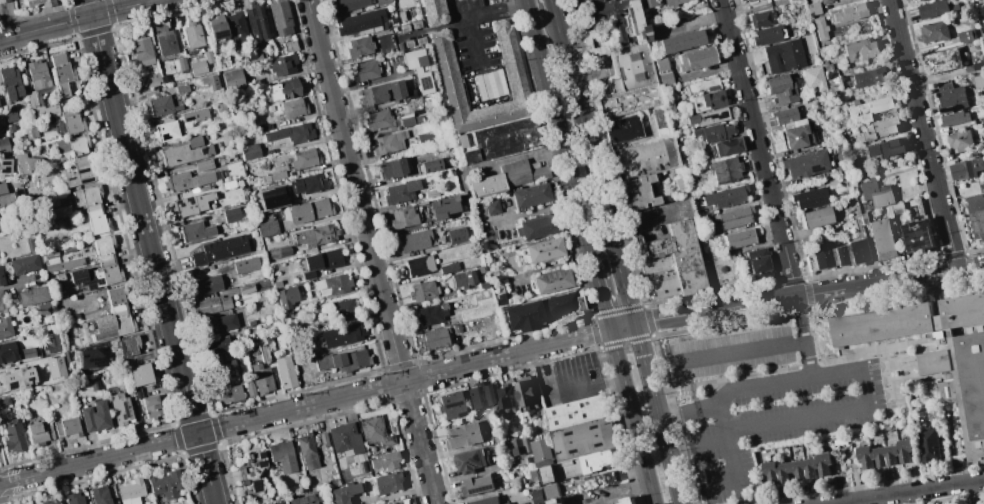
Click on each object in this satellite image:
building: (739, 0)
building: (741, 0)
building: (918, 0)
building: (4, 1)
road: (145, 1)
building: (576, 1)
building: (592, 1)
building: (795, 1)
building: (825, 1)
building: (38, 2)
building: (382, 2)
building: (673, 2)
building: (645, 3)
road: (89, 4)
building: (349, 4)
road: (554, 4)
road: (88, 8)
building: (813, 8)
building: (936, 8)
building: (432, 12)
road: (497, 12)
building: (849, 12)
road: (118, 14)
road: (92, 15)
building: (280, 17)
building: (762, 18)
building: (618, 20)
building: (360, 21)
building: (255, 22)
building: (236, 26)
road: (66, 27)
building: (820, 28)
building: (217, 29)
building: (933, 31)
road: (19, 34)
building: (192, 34)
rooftop solar panel: (221, 34)
building: (768, 35)
building: (965, 35)
building: (602, 41)
building: (677, 41)
building: (165, 42)
building: (807, 42)
building: (290, 46)
building: (359, 46)
road: (476, 48)
building: (40, 49)
building: (859, 49)
building: (142, 51)
building: (256, 54)
building: (783, 55)
building: (208, 57)
building: (695, 58)
building: (943, 60)
building: (181, 63)
building: (223, 63)
building: (282, 64)
building: (978, 65)
building: (632, 66)
building: (197, 67)
building: (417, 69)
building: (365, 70)
building: (513, 70)
building: (661, 71)
rooftop solar panel: (1, 73)
building: (62, 73)
building: (869, 76)
building: (166, 78)
building: (151, 80)
building: (232, 80)
building: (210, 81)
building: (10, 83)
rooftop solar panel: (423, 83)
building: (706, 84)
building: (830, 85)
building: (781, 88)
building: (38, 89)
building: (181, 89)
building: (284, 89)
building: (382, 92)
building: (411, 95)
building: (950, 98)
building: (626, 99)
building: (706, 100)
building: (159, 105)
building: (440, 106)
building: (669, 106)
building: (867, 107)
building: (292, 108)
building: (10, 114)
building: (194, 115)
building: (784, 115)
building: (659, 116)
rooftop solar panel: (714, 116)
building: (707, 117)
building: (954, 118)
building: (378, 119)
building: (410, 119)
building: (72, 120)
building: (841, 122)
building: (622, 128)
building: (880, 128)
building: (165, 130)
building: (712, 131)
building: (31, 132)
road: (561, 132)
building: (793, 133)
building: (289, 134)
road: (922, 134)
building: (425, 138)
building: (502, 139)
building: (959, 141)
building: (389, 142)
building: (3, 145)
building: (727, 146)
road: (759, 148)
building: (885, 148)
building: (249, 151)
building: (185, 152)
building: (644, 158)
building: (304, 159)
building: (77, 160)
building: (25, 161)
building: (804, 163)
building: (203, 164)
building: (5, 165)
rooftop solar panel: (5, 165)
building: (430, 165)
building: (393, 167)
rooftop solar panel: (814, 167)
rooftop solar panel: (84, 169)
building: (725, 169)
building: (966, 169)
building: (526, 173)
rooftop solar panel: (70, 178)
building: (186, 180)
rooftop solar panel: (88, 181)
building: (308, 183)
building: (492, 184)
building: (2, 188)
building: (400, 191)
building: (636, 192)
building: (431, 193)
building: (875, 193)
building: (530, 195)
building: (725, 196)
building: (809, 197)
building: (974, 203)
rooftop solar panel: (812, 205)
building: (185, 207)
building: (442, 207)
building: (492, 207)
building: (91, 208)
building: (898, 208)
building: (916, 208)
building: (310, 210)
building: (259, 213)
road: (608, 213)
building: (231, 214)
building: (733, 216)
building: (403, 217)
building: (815, 217)
building: (65, 223)
road: (650, 223)
building: (976, 223)
building: (269, 224)
building: (537, 227)
building: (195, 231)
building: (313, 235)
building: (456, 235)
building: (918, 236)
building: (880, 237)
building: (738, 238)
building: (414, 240)
building: (29, 244)
building: (219, 249)
building: (857, 250)
building: (284, 251)
building: (538, 251)
road: (370, 252)
building: (846, 253)
building: (832, 255)
building: (839, 255)
building: (821, 258)
building: (58, 261)
building: (322, 261)
building: (669, 262)
building: (810, 262)
building: (23, 263)
road: (154, 263)
building: (758, 263)
building: (418, 265)
building: (99, 267)
building: (448, 267)
building: (226, 268)
building: (480, 270)
building: (463, 278)
building: (1, 279)
rooftop solar panel: (79, 281)
rooftop solar panel: (99, 281)
building: (551, 281)
rooftop solar panel: (91, 284)
building: (206, 285)
building: (330, 285)
building: (484, 286)
building: (246, 288)
building: (423, 290)
road: (810, 294)
building: (116, 295)
building: (32, 296)
building: (287, 296)
road: (604, 297)
building: (3, 303)
building: (211, 304)
building: (560, 305)
building: (44, 308)
building: (342, 308)
building: (430, 313)
building: (522, 315)
building: (74, 316)
building: (111, 323)
building: (219, 323)
building: (5, 327)
building: (456, 328)
building: (348, 333)
road: (806, 337)
building: (434, 339)
building: (51, 342)
building: (128, 345)
building: (216, 345)
building: (327, 348)
building: (266, 349)
building: (7, 351)
building: (27, 352)
road: (739, 352)
building: (936, 352)
parking lot: (730, 354)
building: (343, 360)
building: (55, 368)
building: (226, 368)
building: (285, 371)
building: (140, 374)
building: (261, 378)
building: (17, 379)
building: (94, 383)
building: (55, 389)
road: (588, 389)
road: (735, 389)
building: (250, 390)
building: (137, 392)
building: (525, 392)
building: (229, 394)
building: (479, 396)
building: (502, 397)
building: (4, 401)
road: (318, 402)
rooftop solar panel: (453, 404)
building: (450, 405)
building: (150, 406)
road: (630, 406)
building: (119, 408)
building: (577, 411)
road: (689, 411)
rooftop solar panel: (460, 413)
road: (814, 414)
building: (94, 416)
rooftop solar panel: (125, 416)
parking lot: (776, 421)
building: (66, 428)
building: (374, 430)
building: (38, 433)
building: (462, 435)
building: (13, 436)
building: (502, 437)
building: (345, 438)
building: (323, 439)
building: (586, 443)
road: (710, 445)
building: (929, 445)
building: (519, 446)
building: (306, 450)
building: (542, 452)
rooftop solar panel: (260, 454)
building: (883, 454)
building: (281, 456)
rooftop solar panel: (477, 457)
building: (385, 460)
building: (470, 460)
road: (670, 461)
rooftop solar panel: (260, 462)
rooftop solar panel: (473, 464)
building: (796, 469)
building: (561, 470)
rooftop solar panel: (470, 471)
building: (252, 473)
building: (387, 482)
building: (165, 484)
building: (477, 484)
rooftop solar panel: (254, 485)
building: (535, 485)
road: (719, 486)
building: (302, 487)
building: (131, 491)
building: (550, 491)
road: (914, 492)
building: (342, 493)
road: (613, 493)
building: (100, 494)
road: (653, 494)
parking lot: (602, 495)
building: (536, 496)
building: (74, 498)
building: (301, 499)
building: (486, 500)
building: (557, 501)
building: (627, 501)
building: (48, 502)
building: (398, 502)
building: (33, 503)
building: (277, 503)
building: (506, 503)

